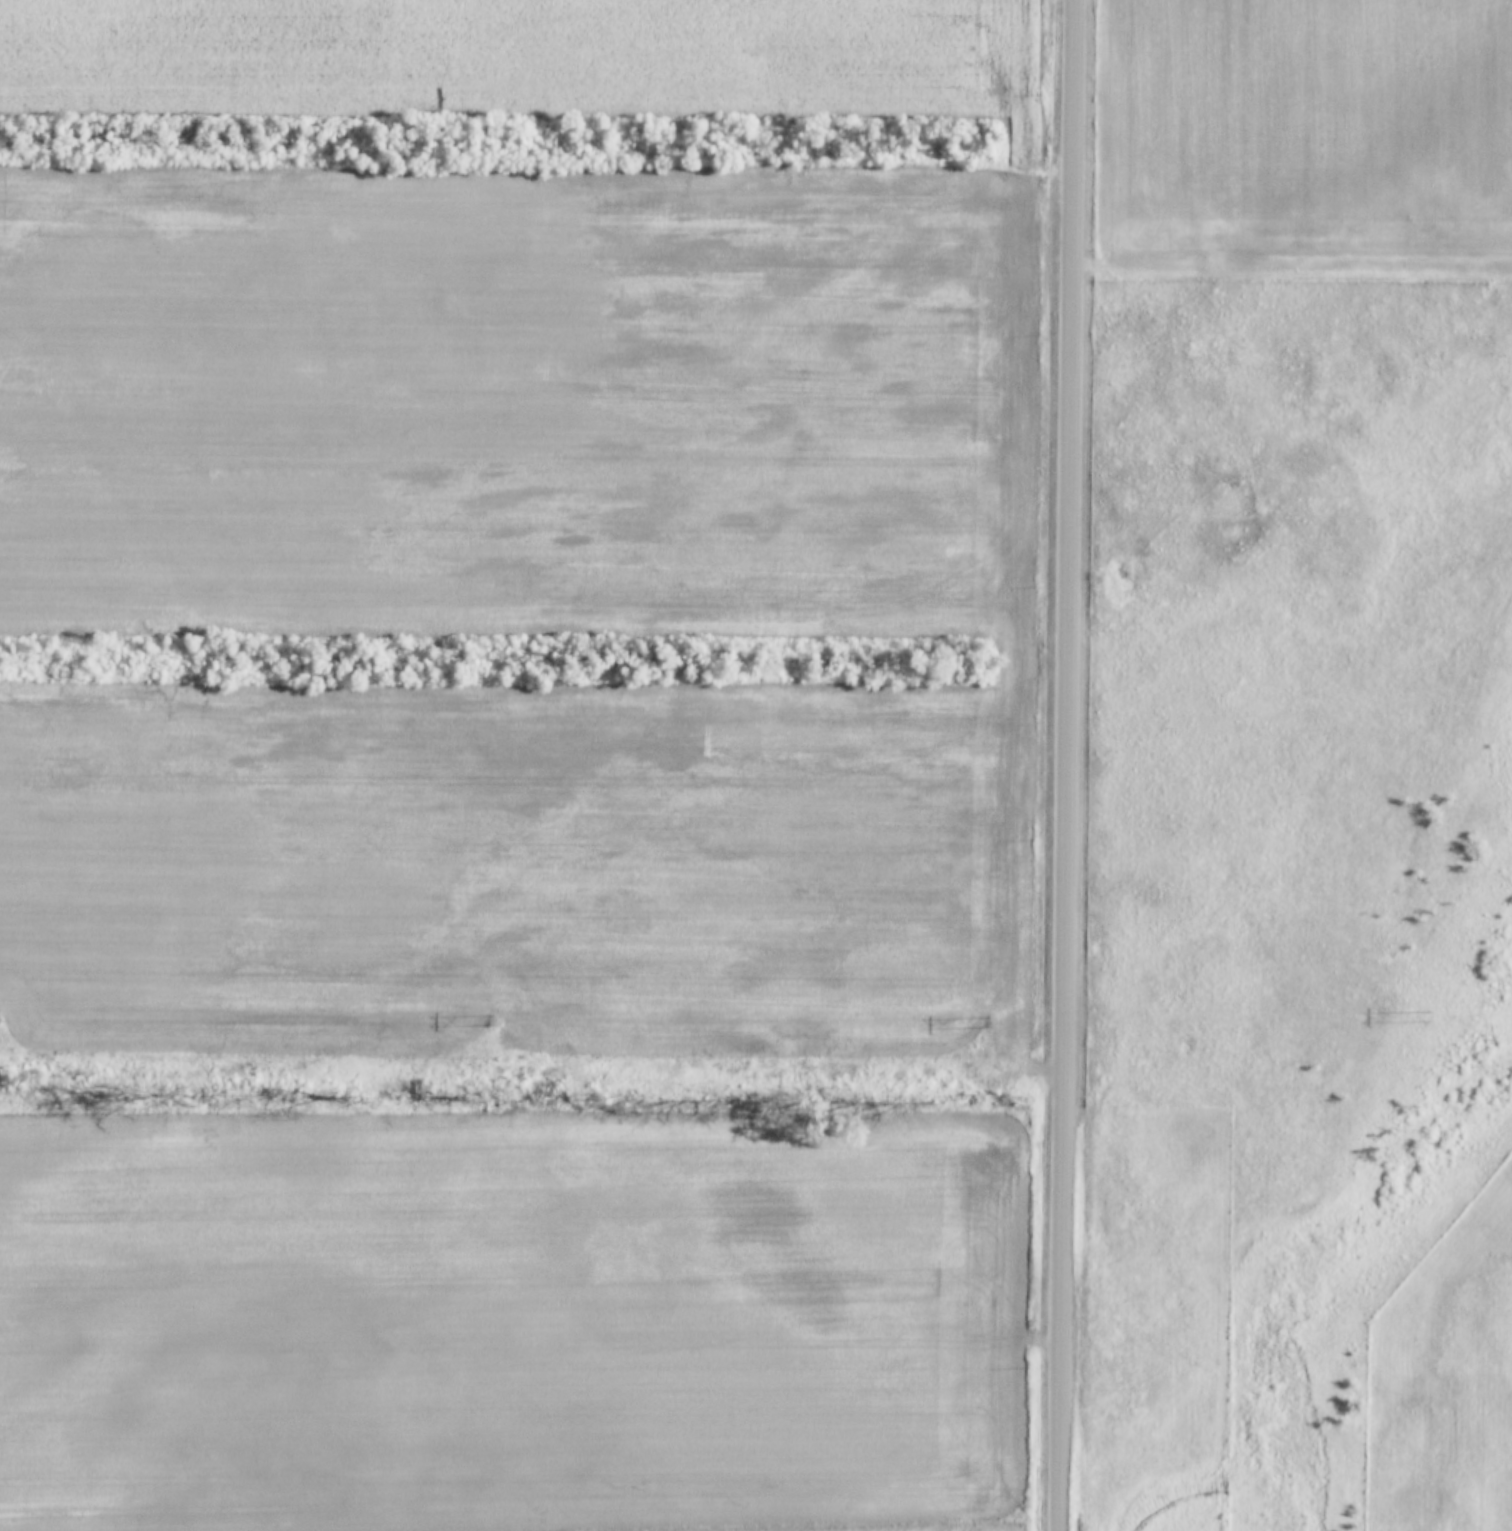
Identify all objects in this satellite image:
road: (1072, 765)
power tower: (1430, 1016)
power tower: (990, 1021)
power tower: (492, 1023)

